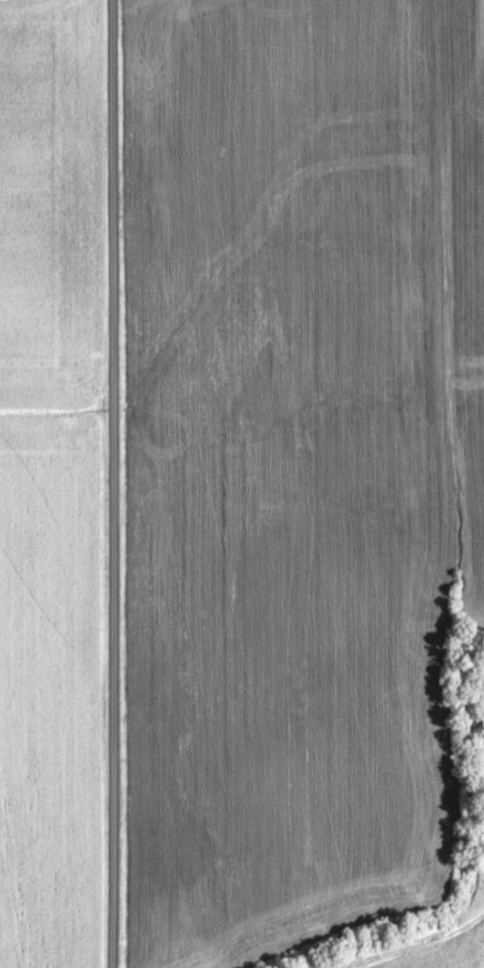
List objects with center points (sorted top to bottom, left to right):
road: (119, 484)
road: (429, 949)

